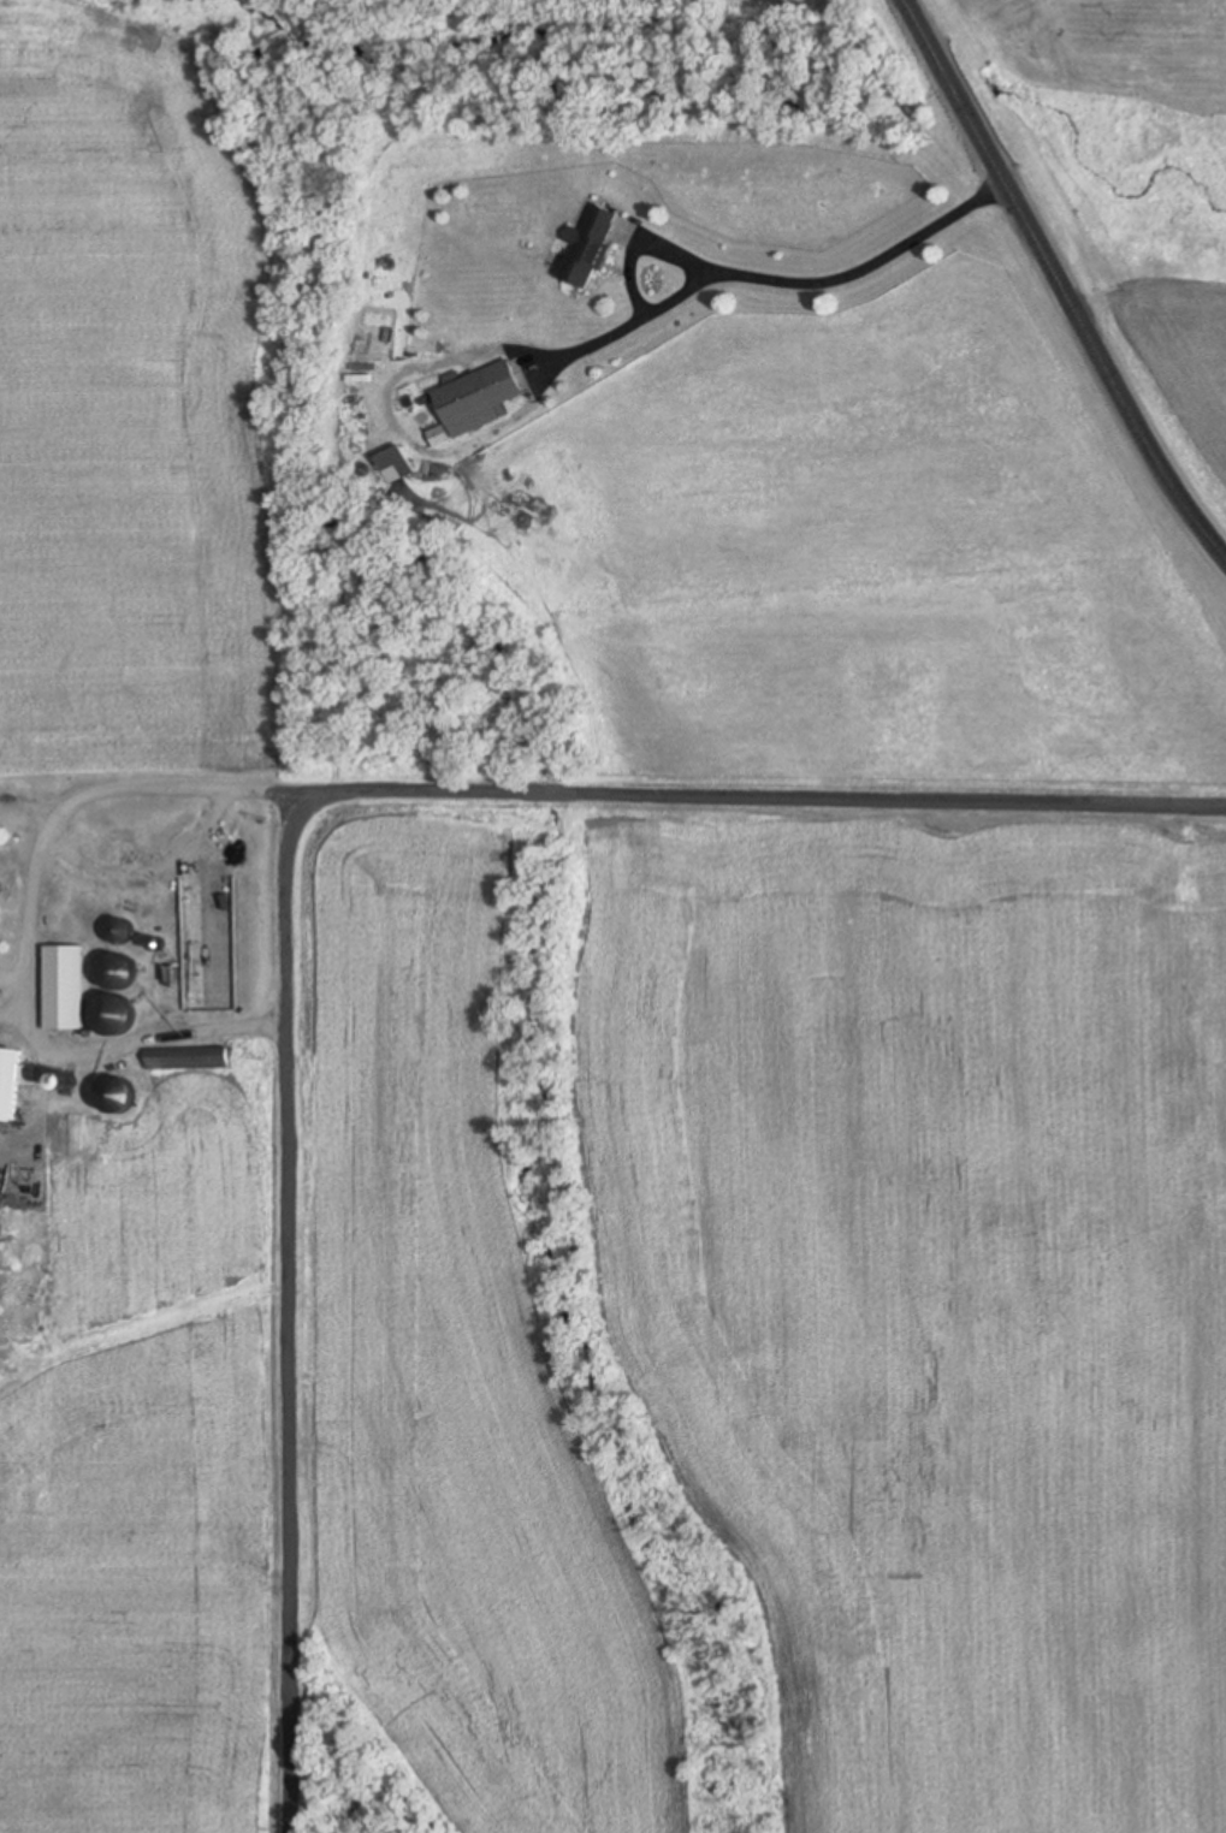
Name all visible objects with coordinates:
building: (590, 247)
road: (758, 277)
road: (1061, 278)
building: (476, 403)
building: (397, 465)
road: (203, 781)
road: (760, 796)
road: (77, 799)
building: (64, 989)
building: (112, 997)
road: (51, 1044)
building: (185, 1064)
building: (12, 1082)
building: (116, 1098)
road: (285, 1307)

